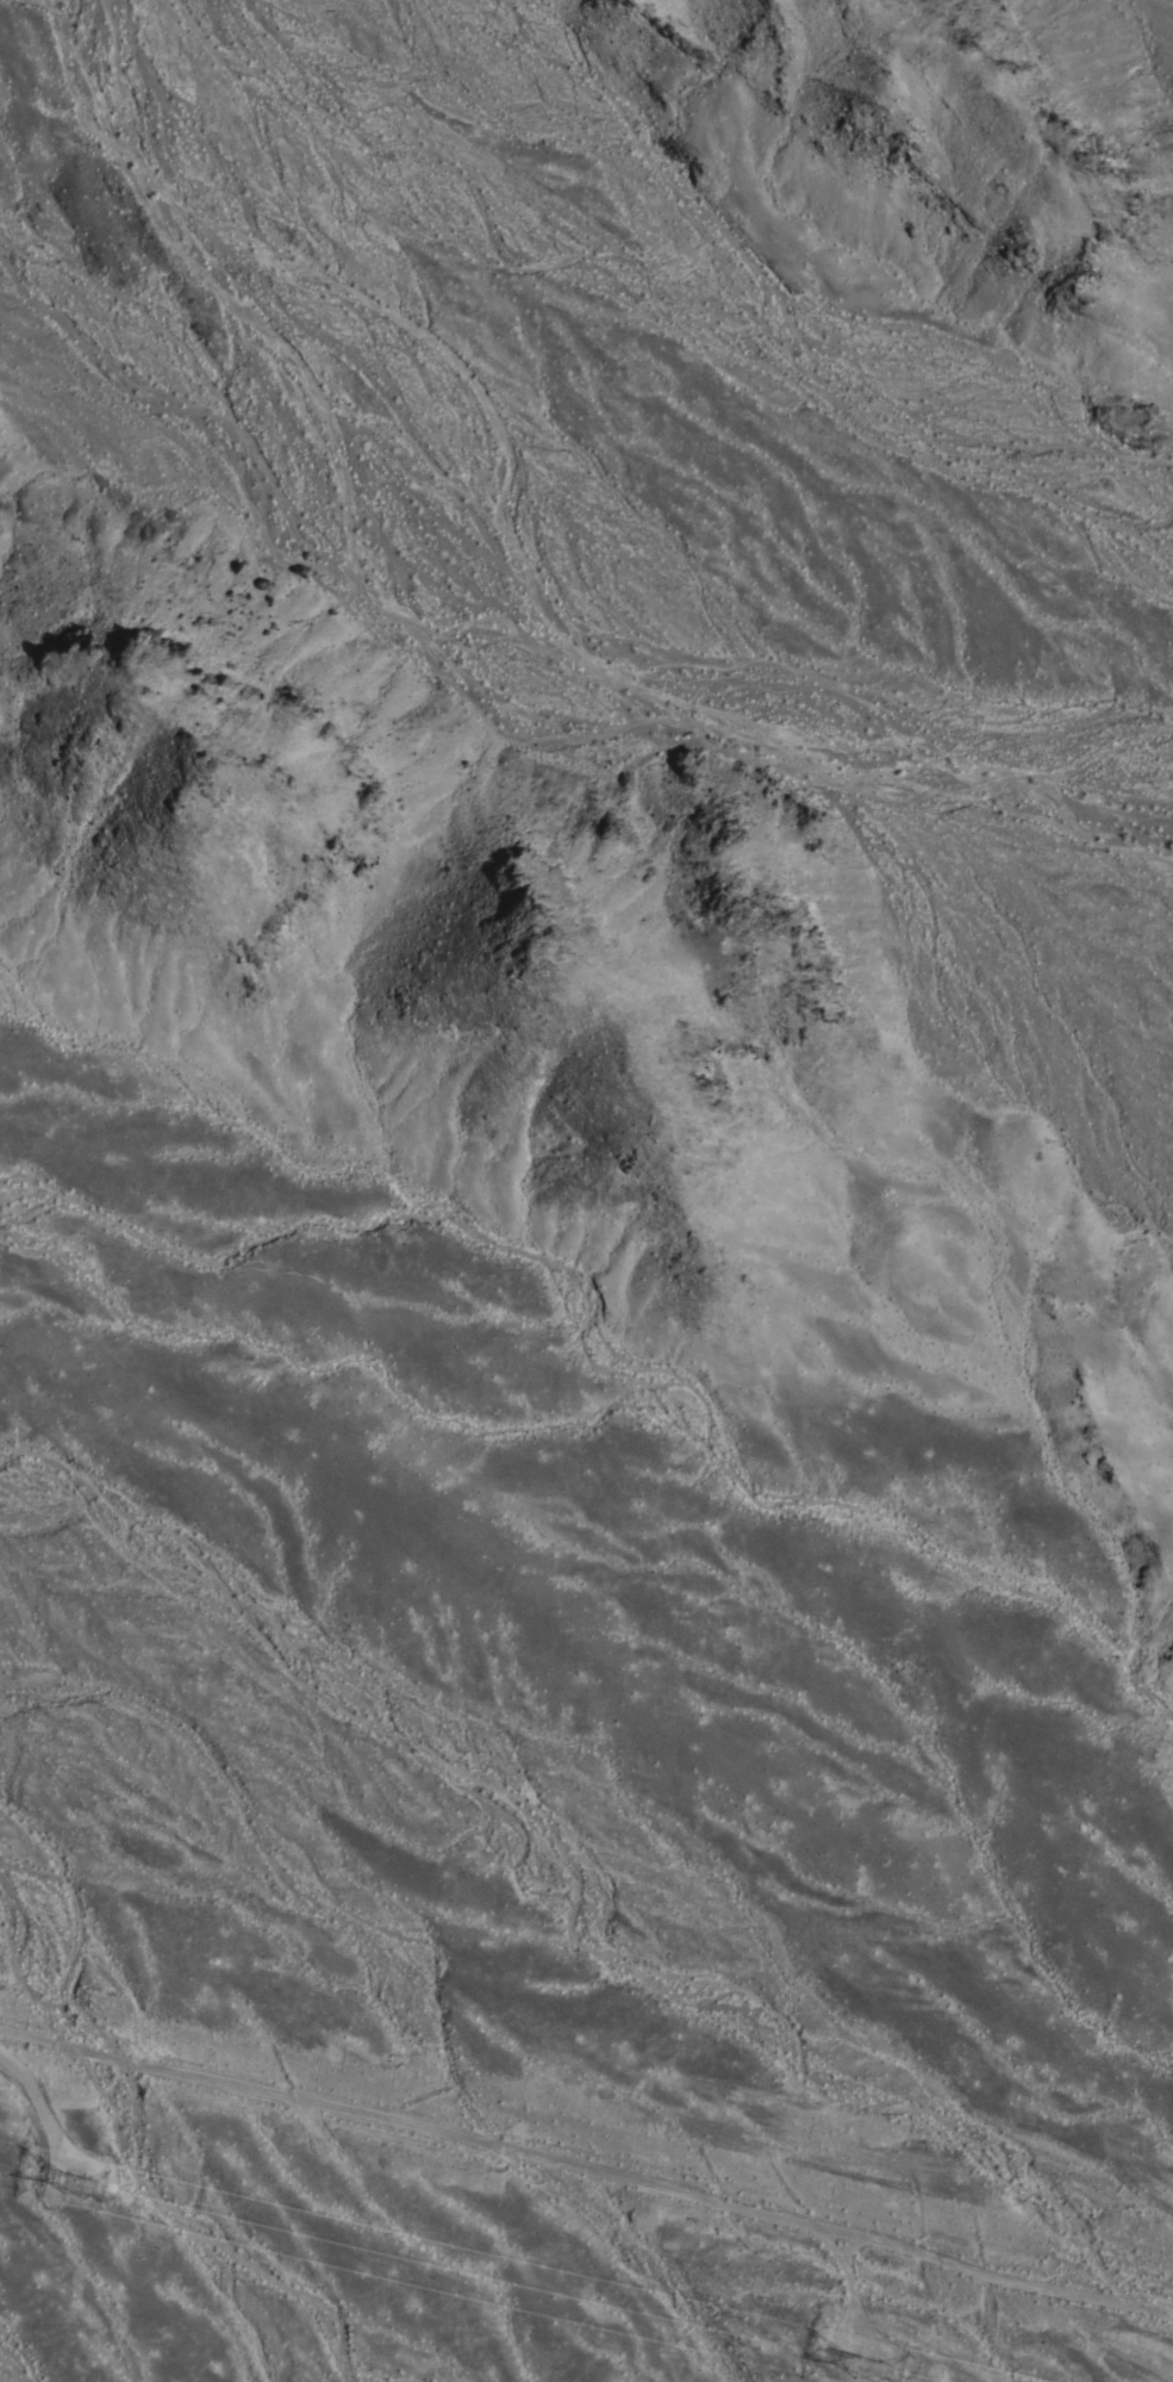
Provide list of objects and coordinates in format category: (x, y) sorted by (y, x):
road: (586, 2159)
power tower: (79, 2191)
power tower: (893, 2372)

